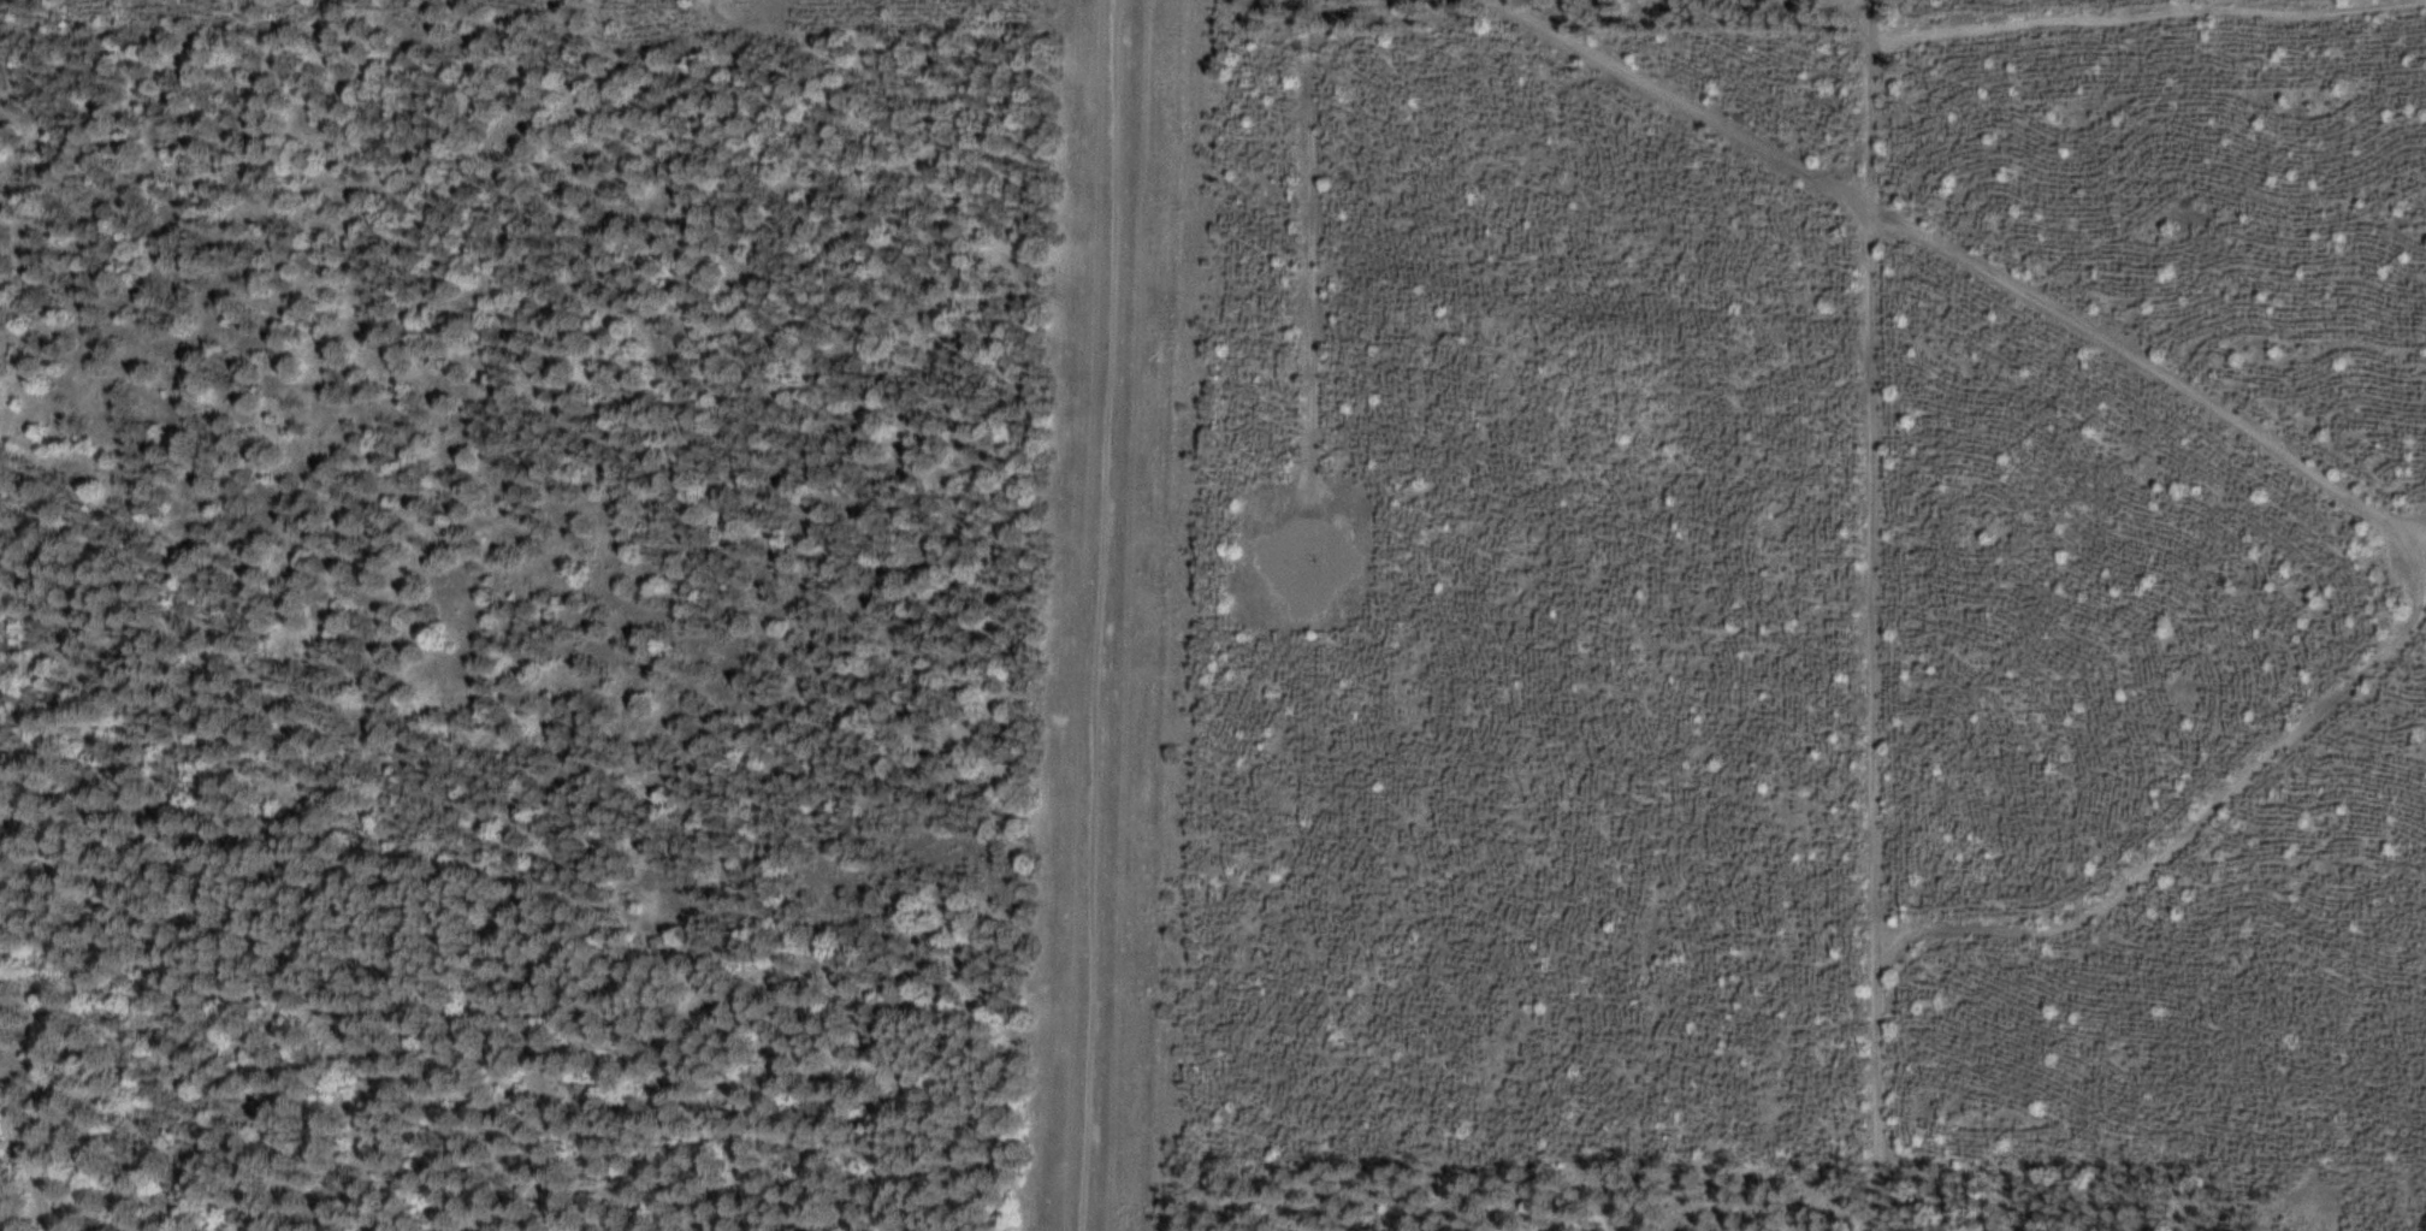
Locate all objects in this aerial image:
road: (2150, 24)
road: (1296, 236)
road: (2259, 442)
road: (1880, 615)
road: (36, 1148)

